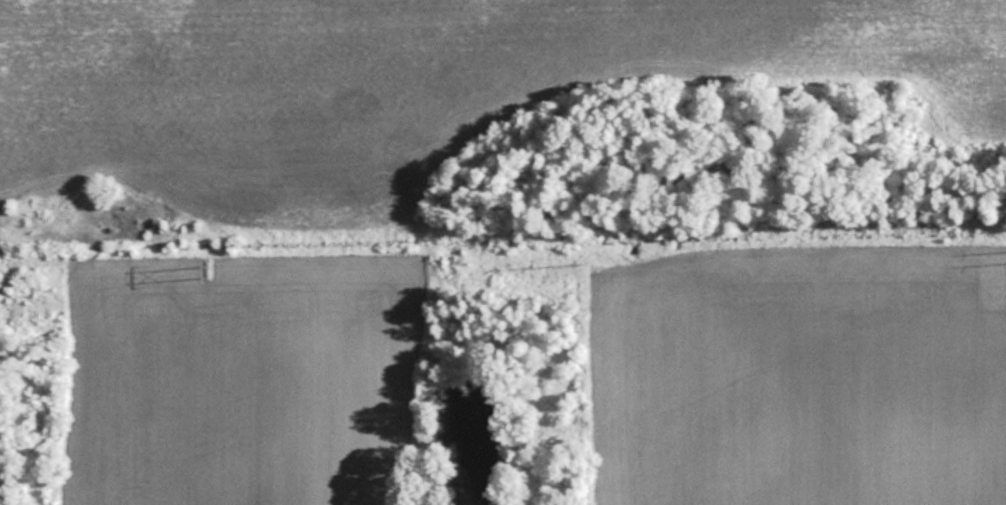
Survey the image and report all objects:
power tower: (583, 266)
power tower: (214, 276)

